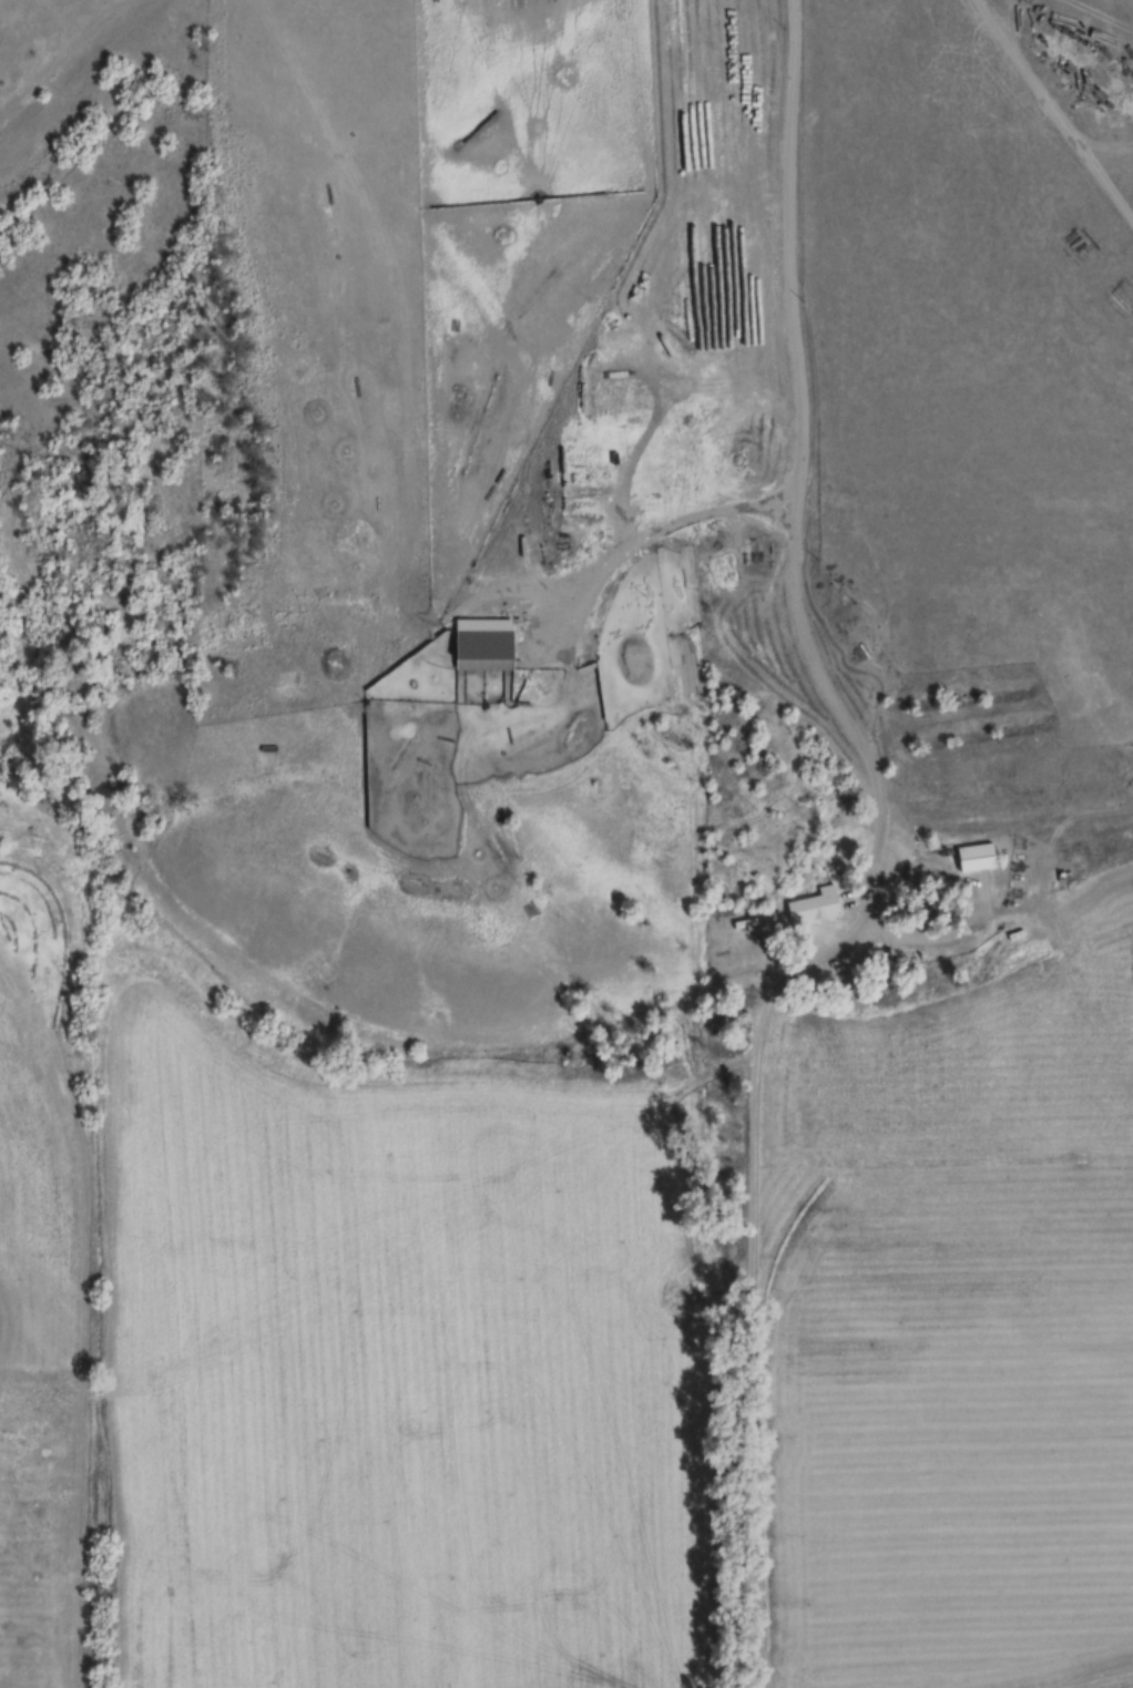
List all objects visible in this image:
road: (875, 852)
building: (974, 858)
building: (921, 906)

